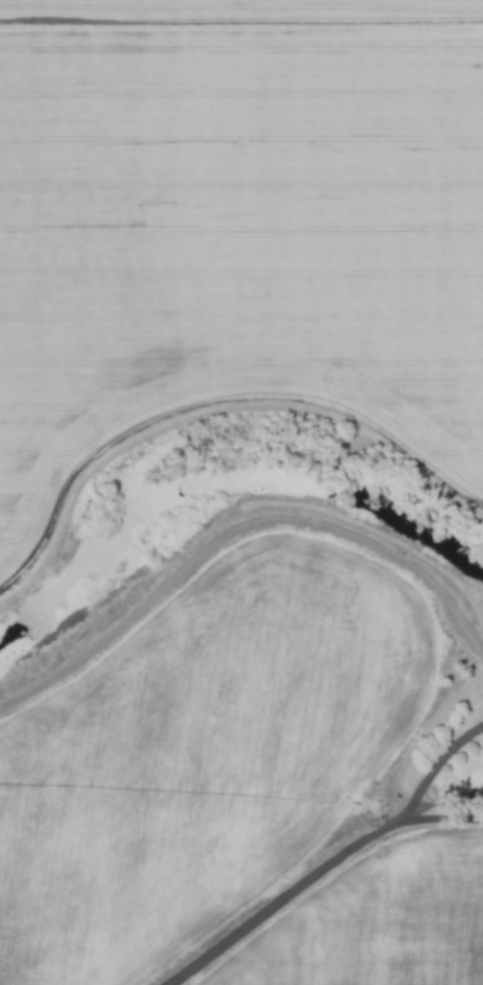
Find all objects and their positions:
road: (313, 875)

